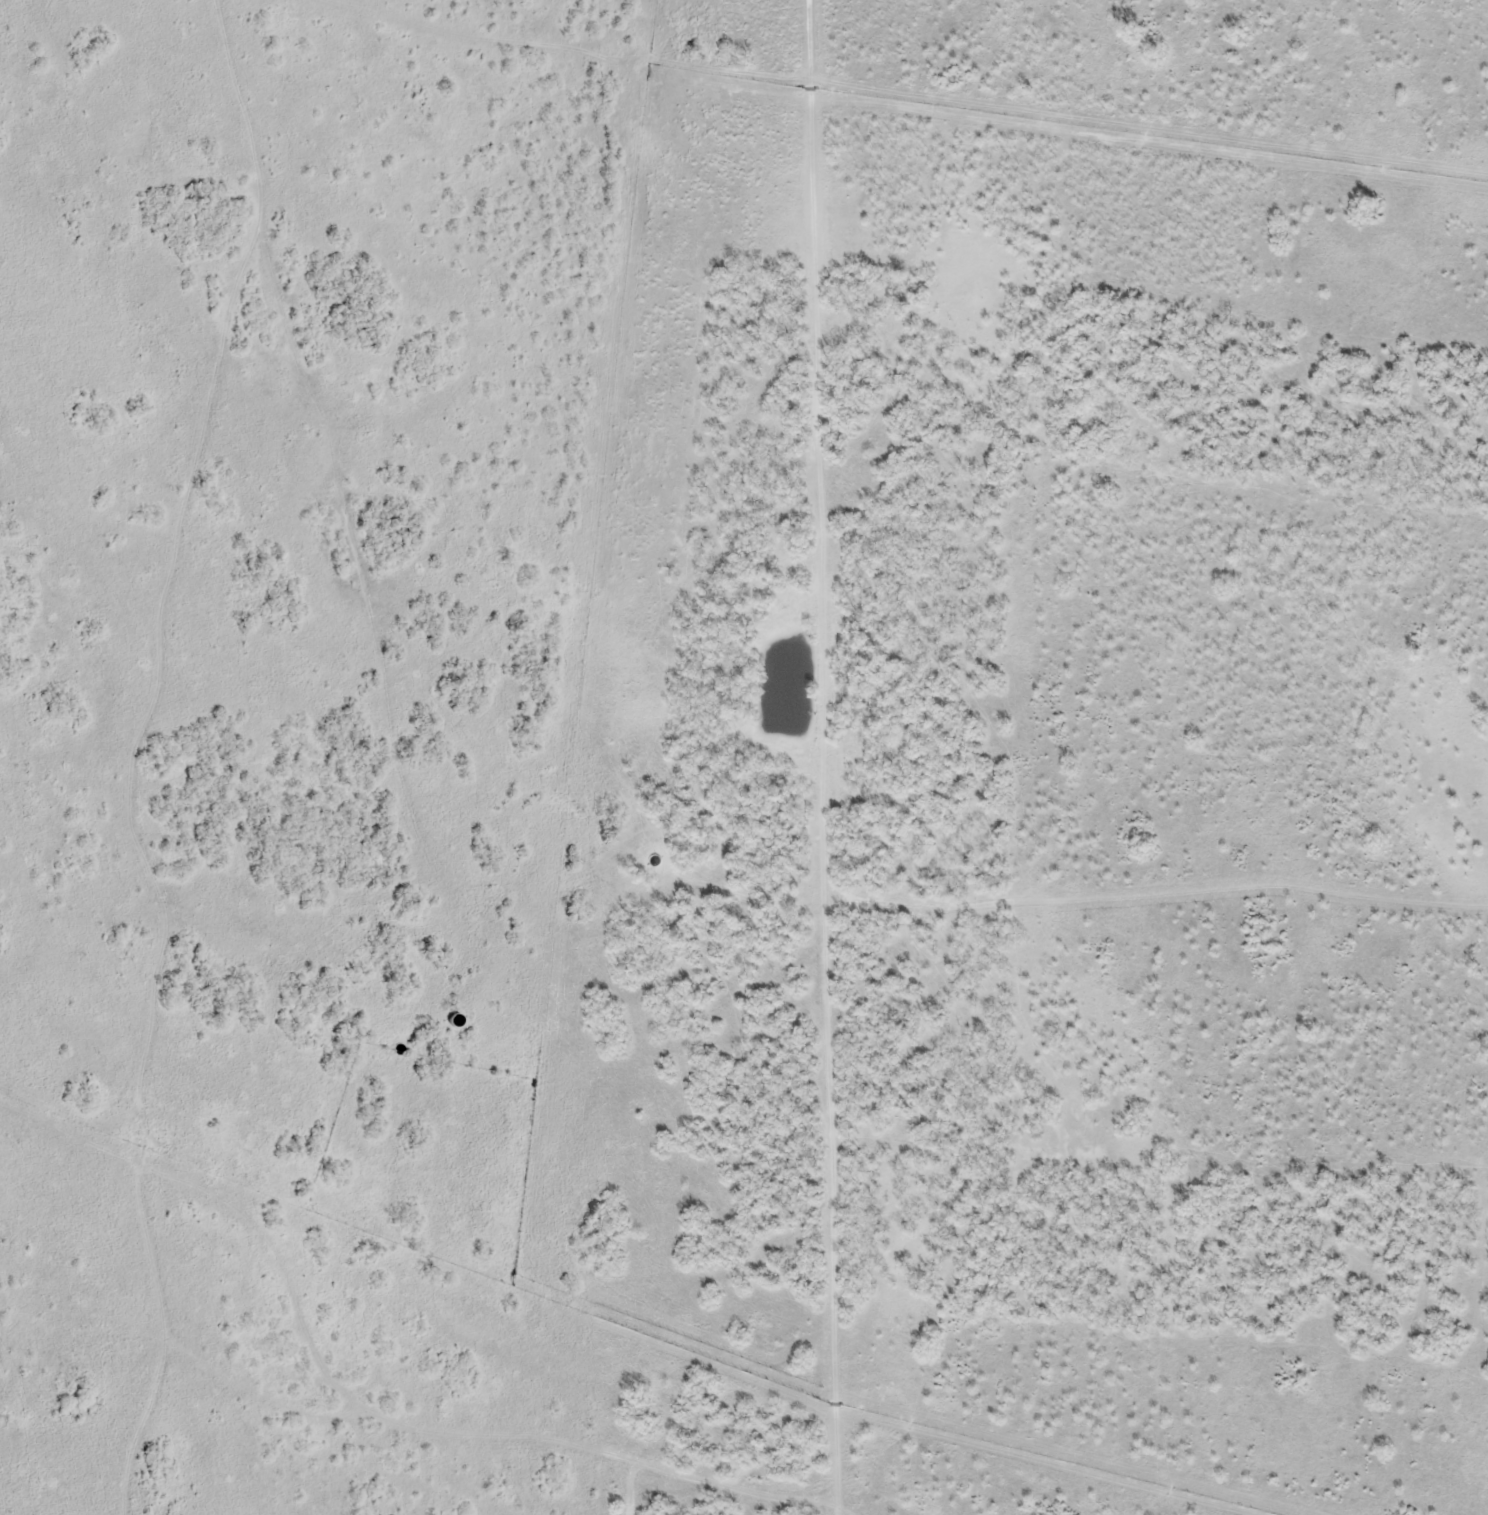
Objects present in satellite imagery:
road: (815, 757)

